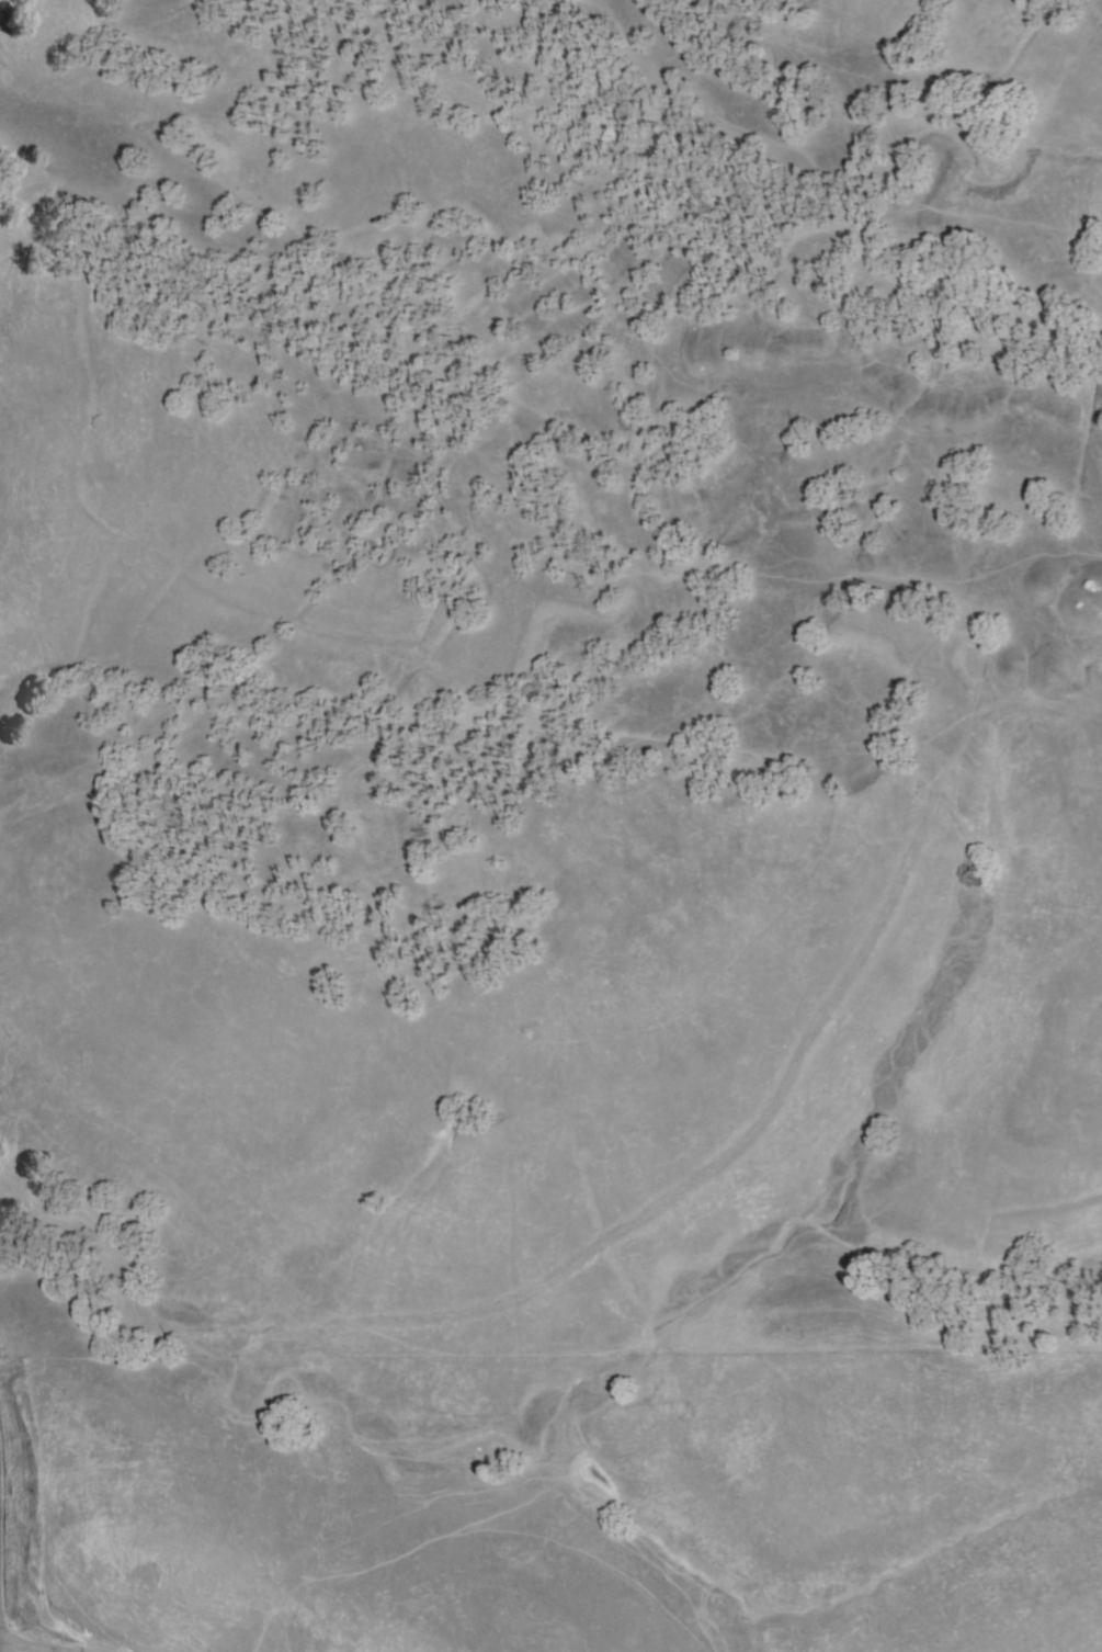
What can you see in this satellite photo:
road: (29, 1645)

